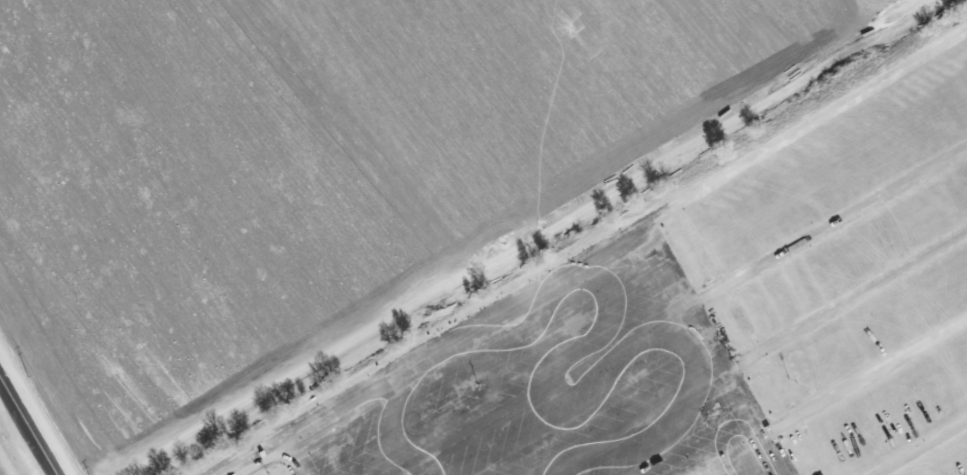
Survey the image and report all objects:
road: (802, 130)
road: (825, 225)
road: (844, 302)
road: (462, 336)
road: (708, 352)
road: (862, 377)
parking lot: (554, 385)
road: (33, 417)
road: (919, 447)
road: (256, 457)
road: (296, 457)

